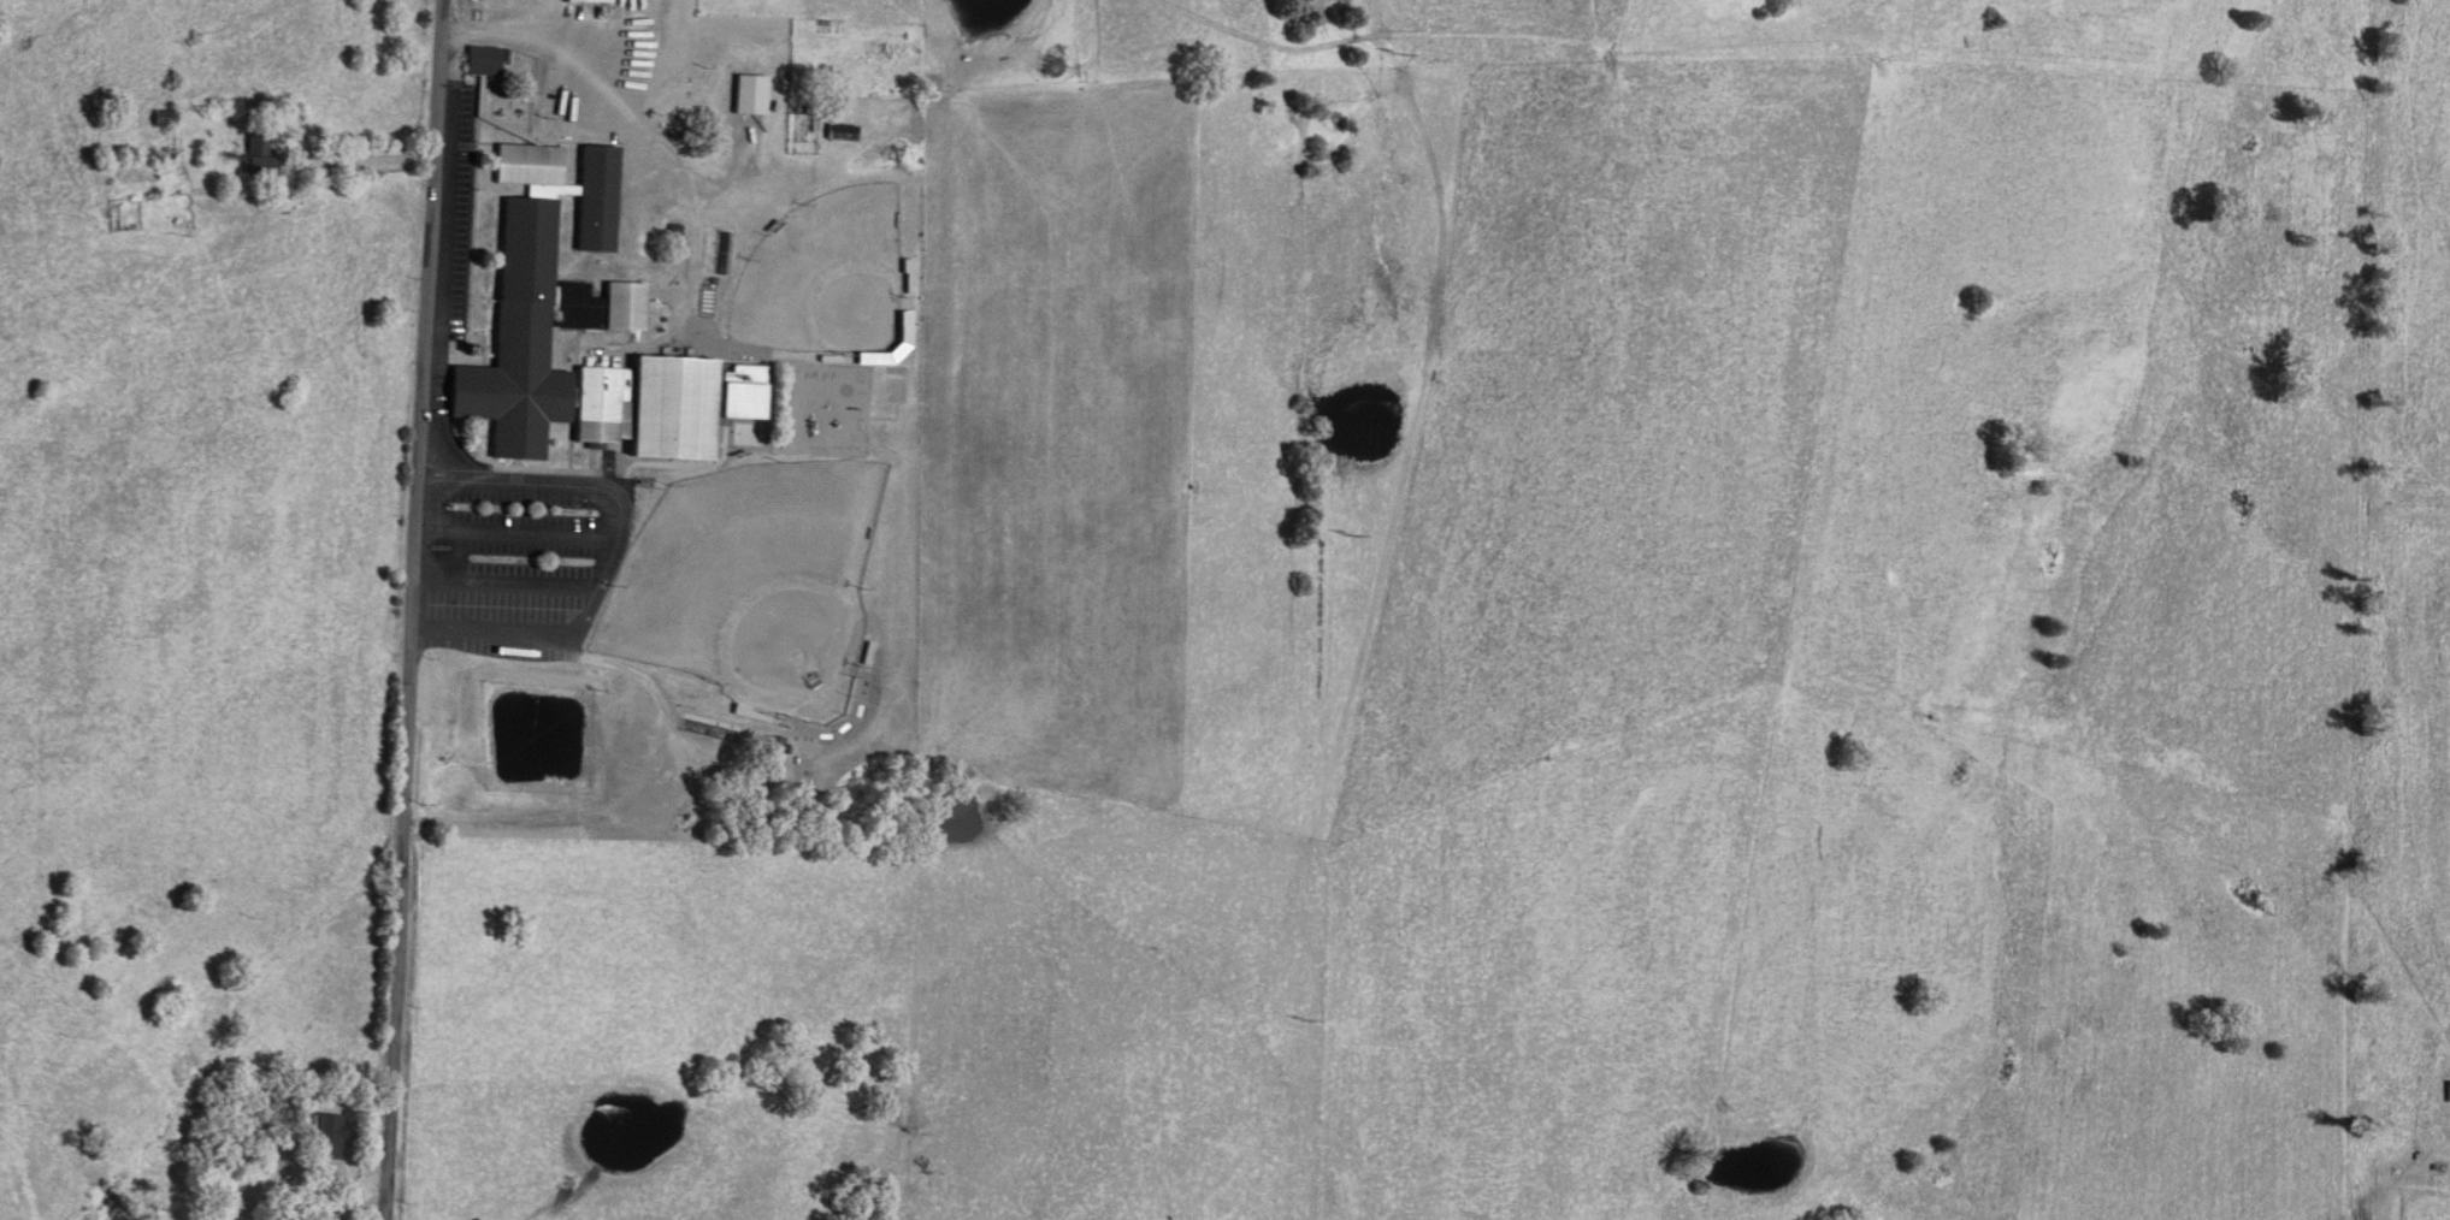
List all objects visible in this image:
building: (592, 4)
building: (480, 59)
building: (748, 91)
building: (255, 149)
park: (831, 282)
building: (537, 290)
building: (578, 304)
building: (630, 308)
building: (739, 390)
building: (654, 405)
park: (756, 587)
road: (408, 610)
building: (775, 742)
building: (331, 1136)

